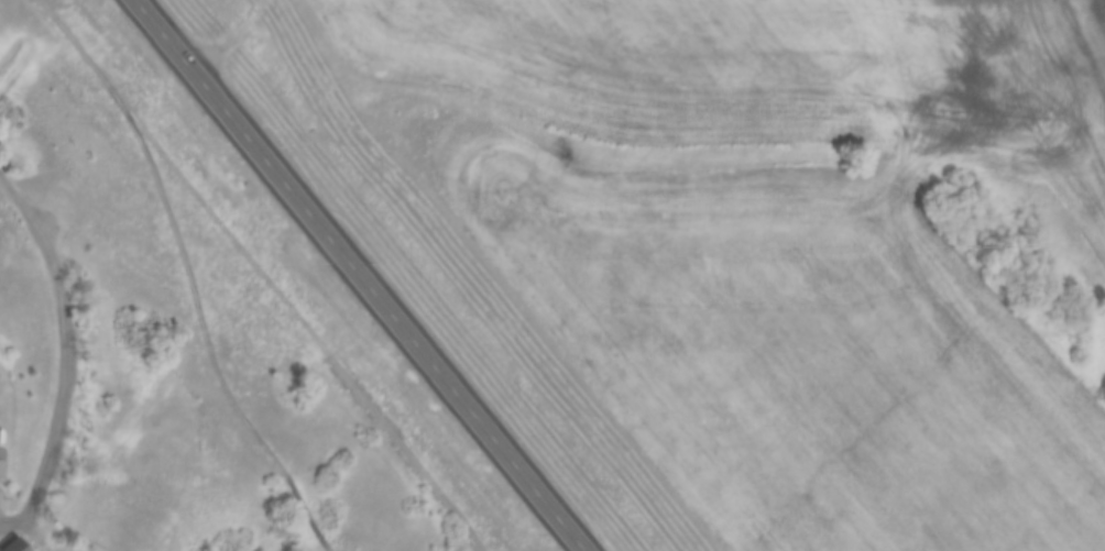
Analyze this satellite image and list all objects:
road: (265, 275)
road: (364, 275)
road: (65, 353)
building: (1, 466)
building: (517, 474)

